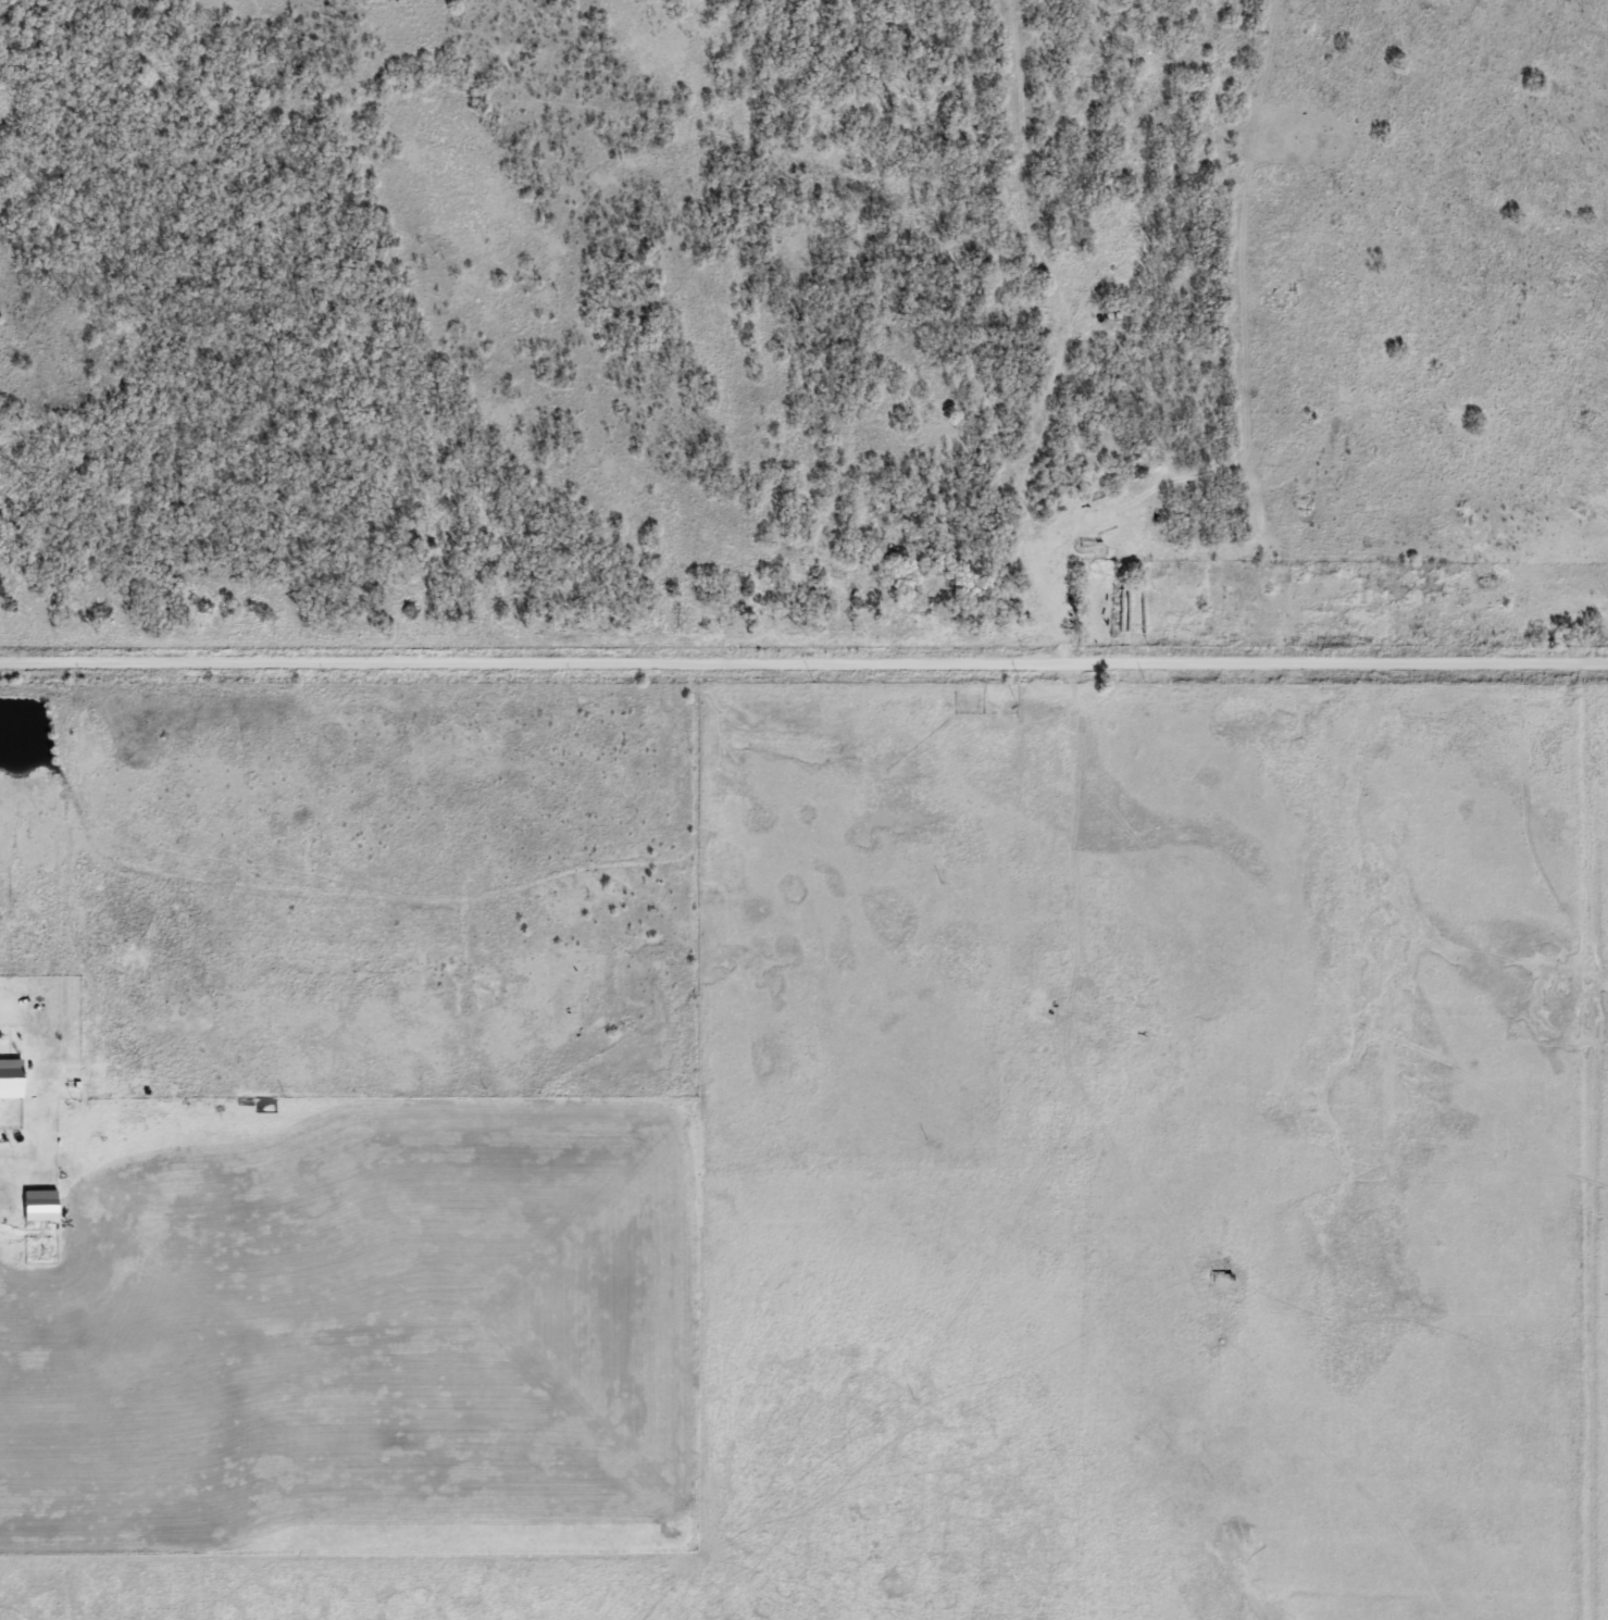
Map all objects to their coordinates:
road: (803, 659)
building: (10, 1080)
building: (39, 1206)

